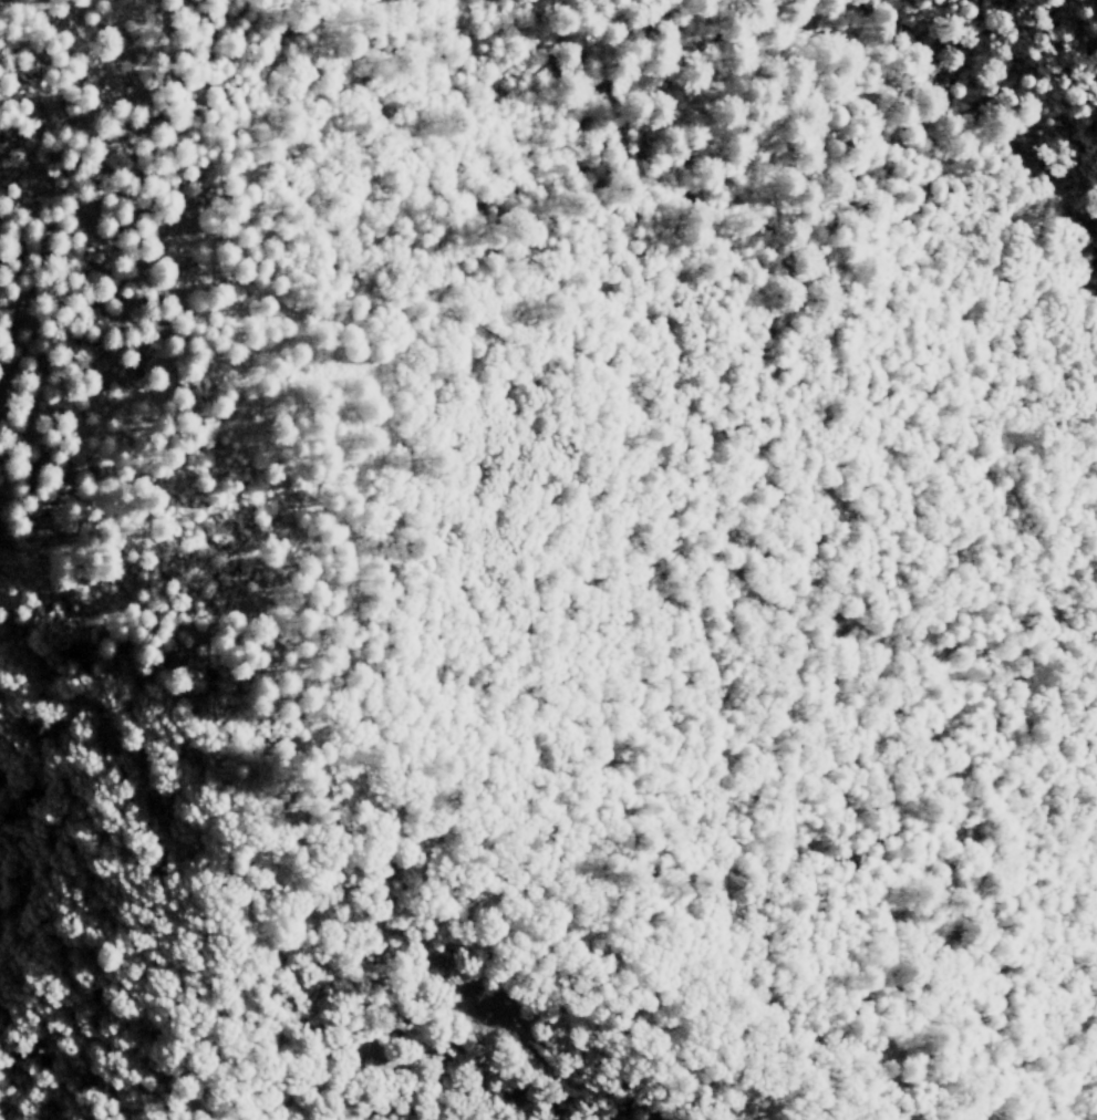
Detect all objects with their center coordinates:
road: (985, 169)

